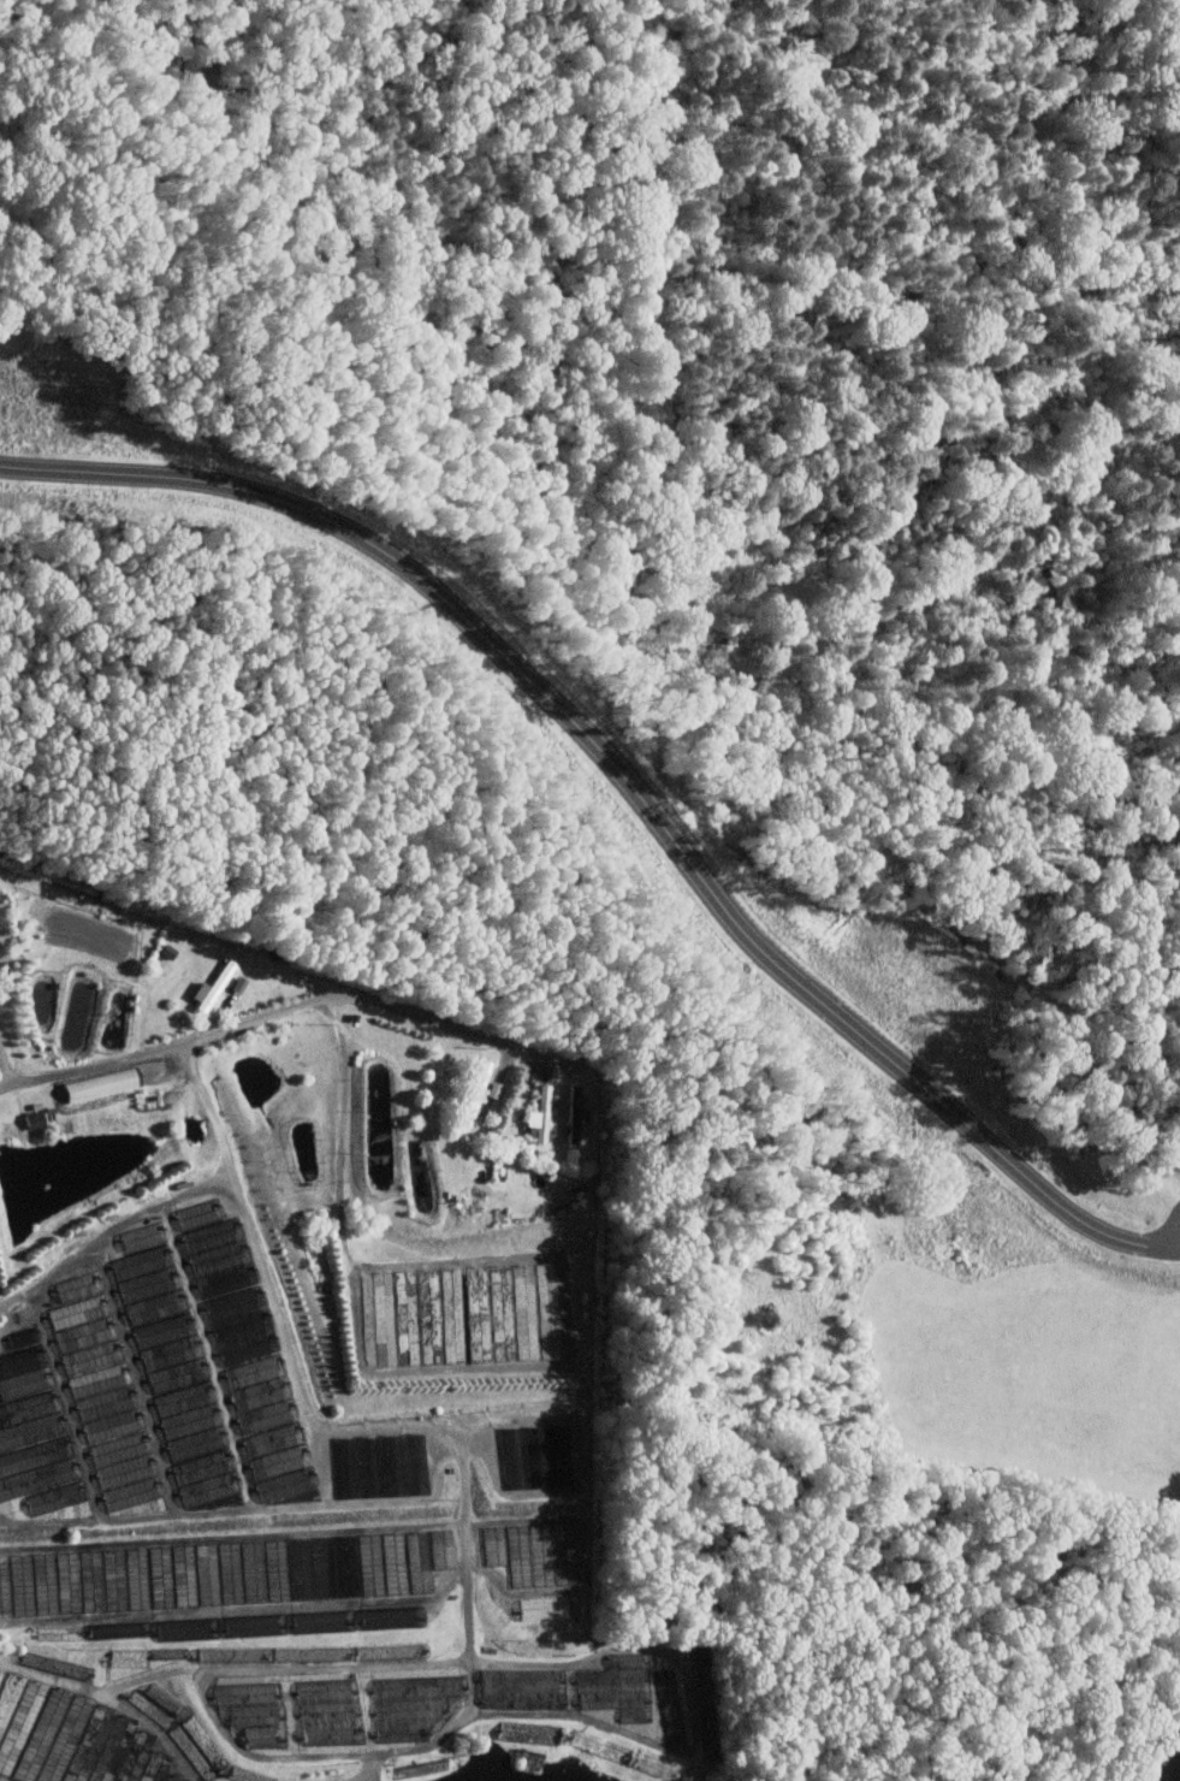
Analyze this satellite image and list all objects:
park: (718, 762)
road: (624, 776)
building: (207, 987)
road: (287, 1013)
road: (209, 1023)
road: (4, 1064)
road: (8, 1075)
building: (89, 1087)
building: (473, 1087)
building: (538, 1112)
building: (571, 1113)
building: (30, 1119)
road: (1172, 1229)
road: (111, 1231)
road: (1174, 1248)
road: (458, 1261)
road: (5, 1312)
building: (468, 1314)
building: (248, 1359)
building: (172, 1367)
road: (410, 1369)
road: (137, 1377)
building: (100, 1392)
road: (65, 1402)
road: (398, 1424)
building: (31, 1431)
building: (533, 1456)
building: (381, 1465)
road: (296, 1505)
road: (48, 1519)
road: (231, 1537)
building: (530, 1552)
building: (223, 1573)
road: (237, 1608)
building: (390, 1616)
building: (236, 1623)
building: (269, 1625)
road: (231, 1667)
building: (615, 1687)
building: (520, 1688)
building: (409, 1704)
building: (668, 1705)
building: (251, 1711)
building: (326, 1712)
building: (72, 1738)
building: (1170, 1764)

